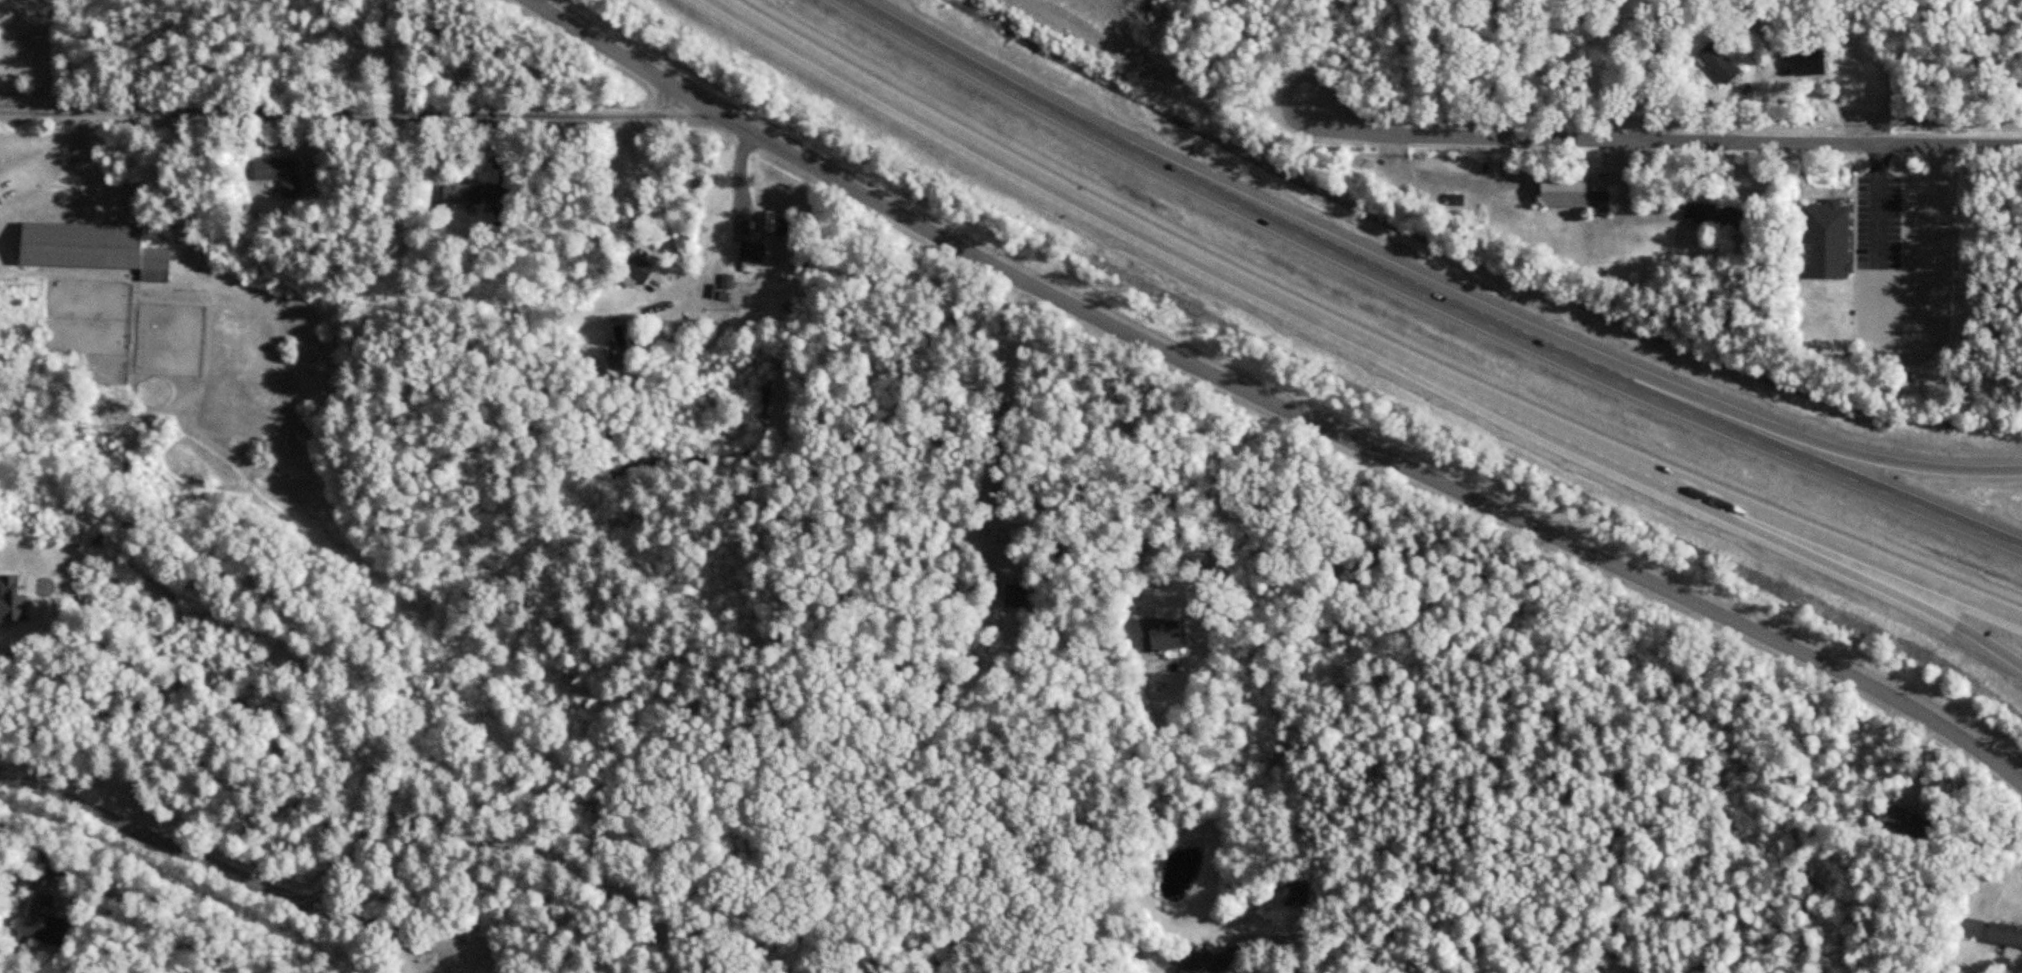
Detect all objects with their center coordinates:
road: (1031, 1)
building: (1812, 61)
building: (1719, 63)
road: (1166, 71)
road: (1547, 77)
road: (351, 116)
road: (1662, 139)
building: (280, 175)
building: (479, 193)
building: (1573, 194)
building: (1, 200)
building: (1456, 200)
building: (1713, 214)
road: (664, 218)
building: (777, 223)
building: (1826, 241)
building: (92, 247)
building: (753, 252)
building: (638, 264)
road: (1426, 296)
road: (1357, 338)
building: (624, 344)
road: (1274, 399)
road: (1001, 408)
road: (1858, 453)
road: (1171, 503)
road: (1883, 586)
building: (1017, 595)
building: (1163, 633)
building: (1901, 822)
road: (1998, 875)
building: (1299, 886)
building: (43, 922)
building: (1987, 928)
building: (1217, 957)
building: (492, 965)

